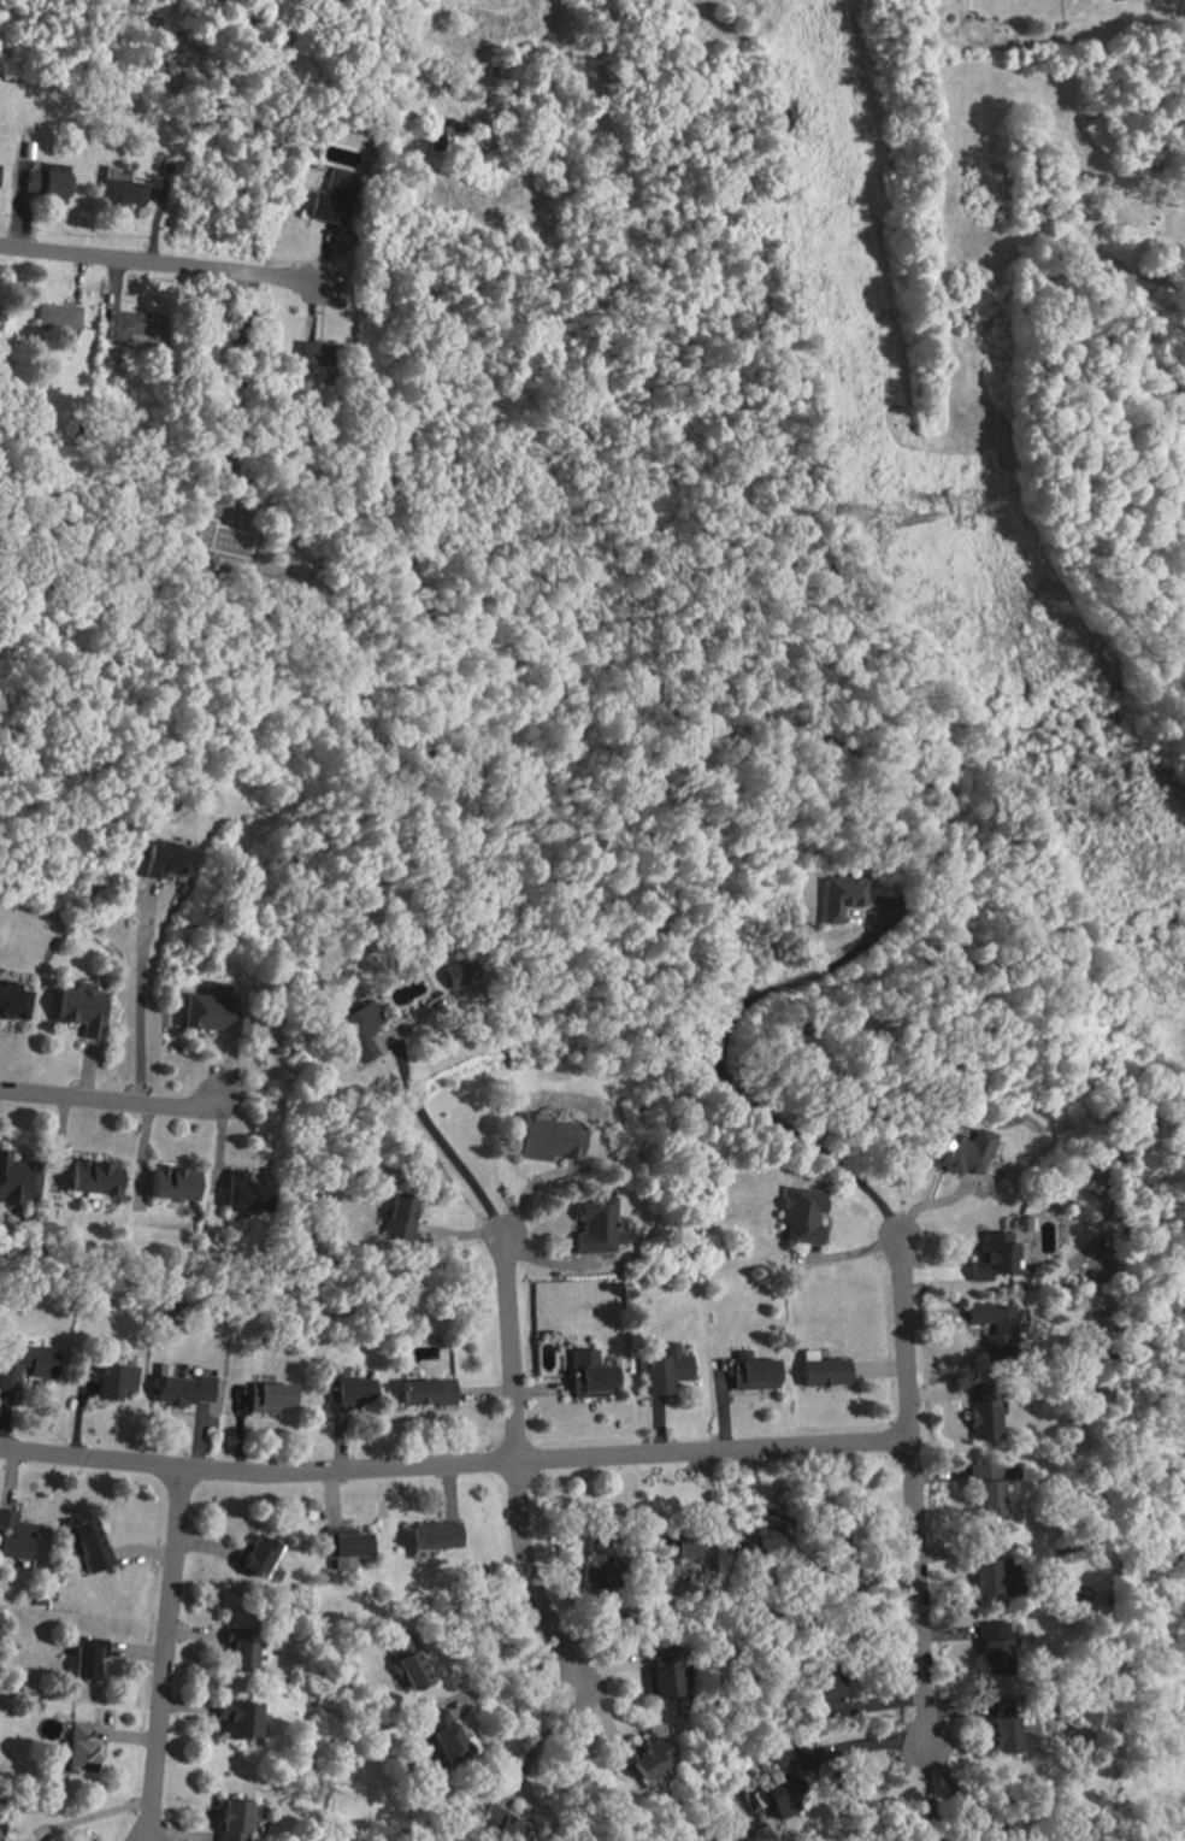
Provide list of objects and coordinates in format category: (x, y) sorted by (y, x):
road: (388, 46)
building: (45, 181)
building: (122, 190)
building: (334, 195)
road: (164, 263)
road: (1163, 310)
building: (58, 314)
building: (131, 325)
building: (319, 353)
road: (237, 371)
power tower: (971, 505)
power tower: (891, 518)
building: (164, 859)
building: (837, 895)
building: (459, 972)
road: (136, 1000)
building: (12, 1001)
building: (79, 1010)
building: (211, 1011)
building: (358, 1030)
road: (723, 1081)
road: (110, 1096)
building: (546, 1139)
road: (442, 1147)
building: (960, 1152)
building: (93, 1177)
building: (18, 1180)
building: (172, 1183)
building: (244, 1192)
building: (399, 1210)
building: (801, 1221)
building: (595, 1227)
building: (994, 1255)
building: (994, 1329)
road: (511, 1351)
building: (25, 1364)
building: (666, 1369)
building: (751, 1371)
building: (823, 1371)
building: (589, 1375)
building: (113, 1381)
building: (348, 1390)
building: (425, 1392)
building: (270, 1396)
building: (981, 1416)
road: (454, 1466)
building: (986, 1488)
road: (912, 1494)
building: (13, 1536)
building: (434, 1536)
building: (765, 1543)
building: (89, 1545)
building: (677, 1547)
building: (344, 1548)
building: (255, 1555)
building: (596, 1563)
building: (995, 1582)
road: (527, 1583)
road: (476, 1614)
building: (995, 1647)
road: (164, 1654)
building: (238, 1655)
building: (86, 1659)
building: (406, 1664)
building: (662, 1674)
road: (505, 1678)
building: (825, 1688)
building: (238, 1721)
building: (1006, 1725)
road: (541, 1737)
building: (447, 1742)
road: (860, 1745)
building: (79, 1748)
building: (645, 1754)
building: (782, 1795)
road: (930, 1795)
road: (966, 1804)
building: (231, 1821)
building: (499, 1827)

